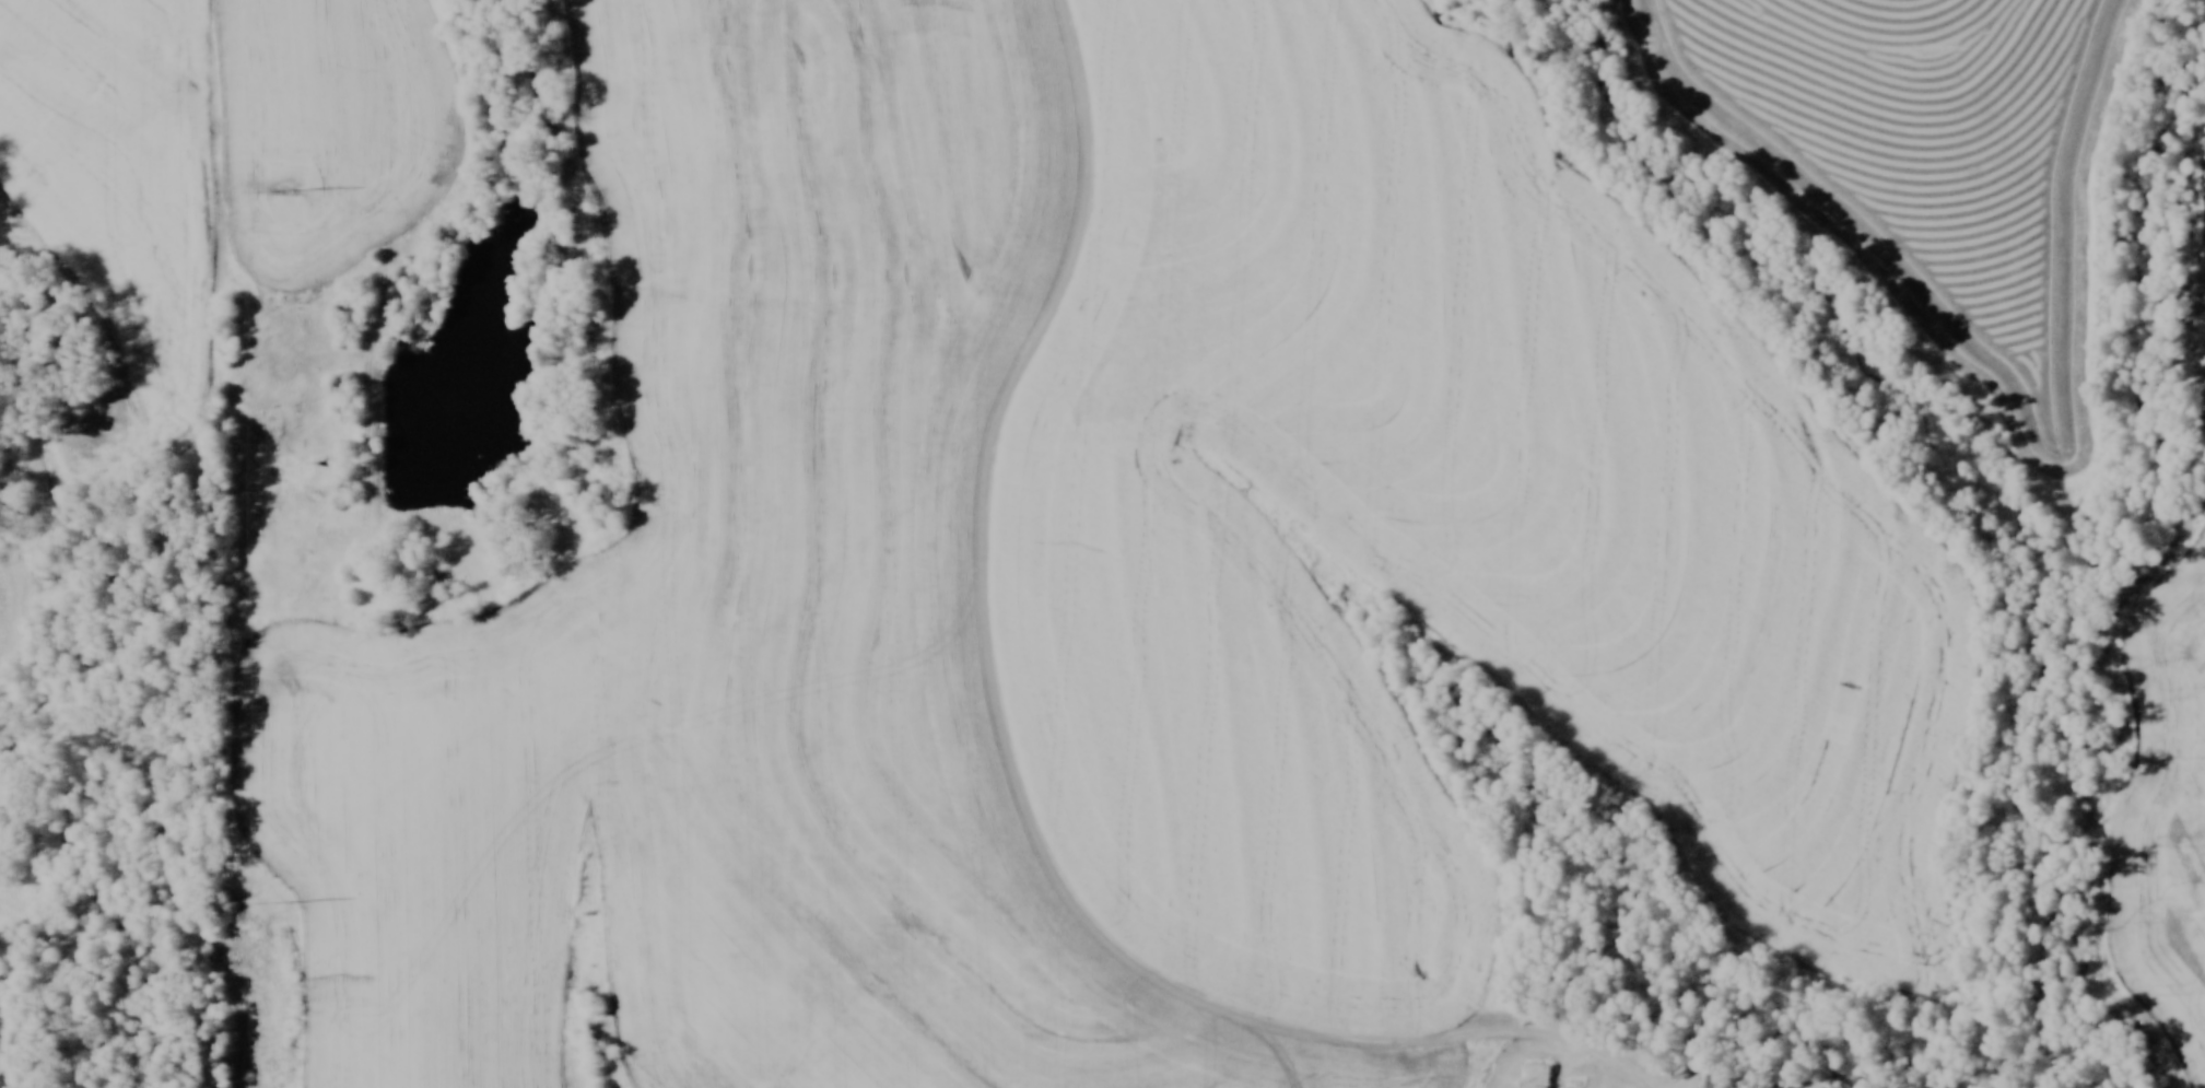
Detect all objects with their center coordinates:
power tower: (280, 190)
road: (1008, 758)
power tower: (281, 908)
building: (1543, 1077)
building: (1778, 1087)

